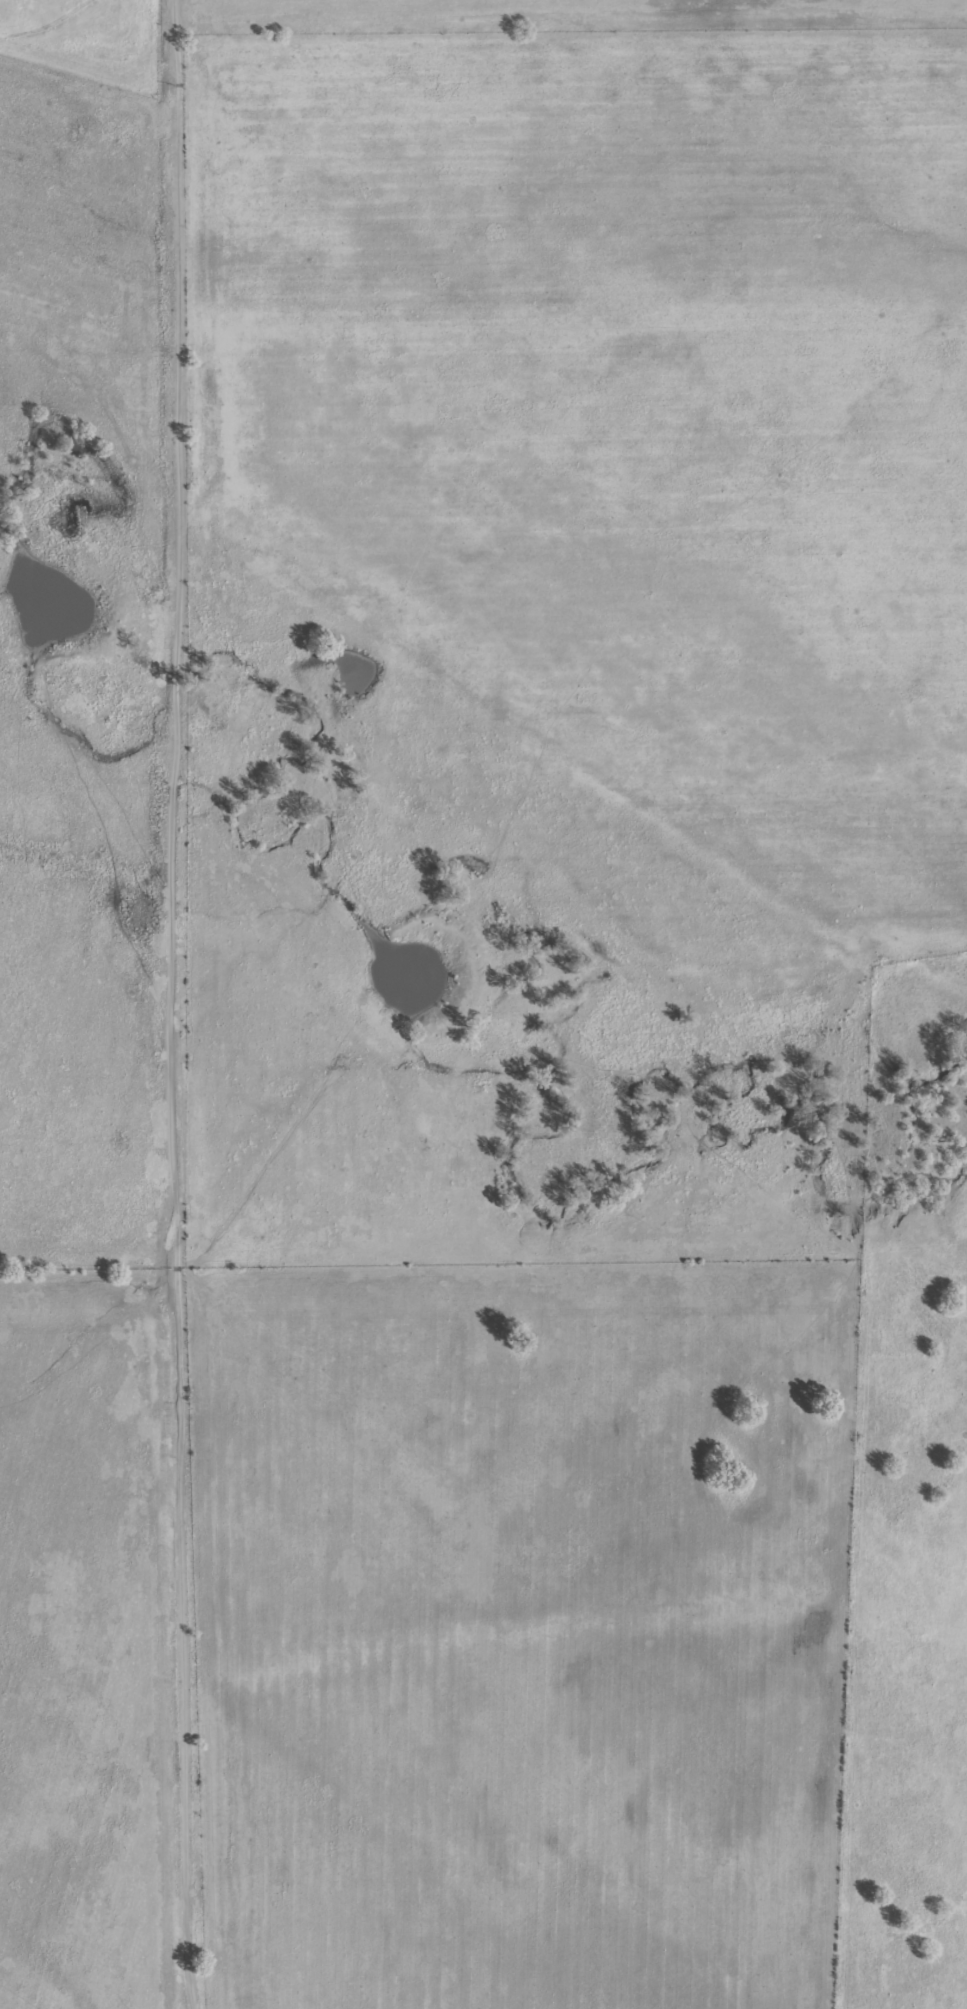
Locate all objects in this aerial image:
road: (169, 1004)

